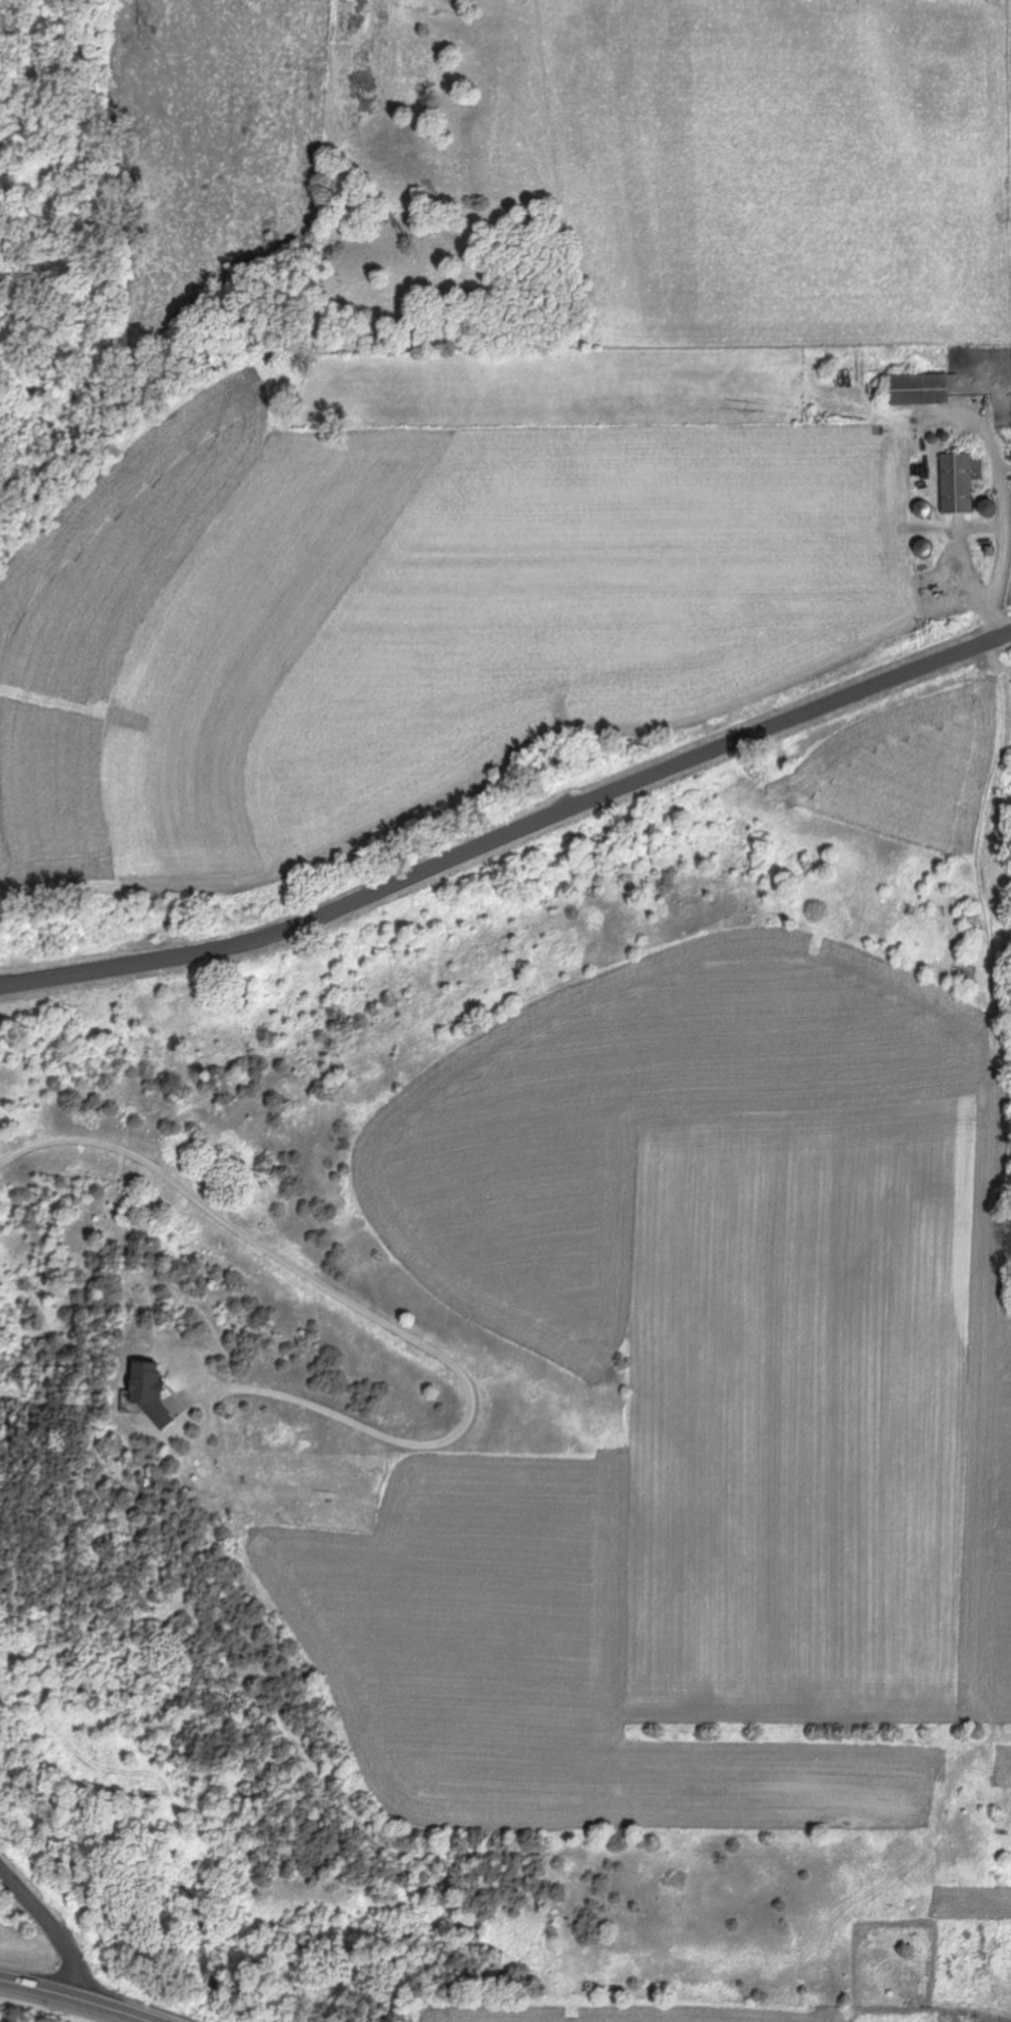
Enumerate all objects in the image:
building: (920, 390)
building: (959, 484)
building: (924, 510)
road: (1006, 510)
building: (924, 549)
road: (512, 840)
road: (373, 1315)
building: (150, 1390)
road: (50, 1931)
road: (73, 1997)
crop: (30, 2008)

